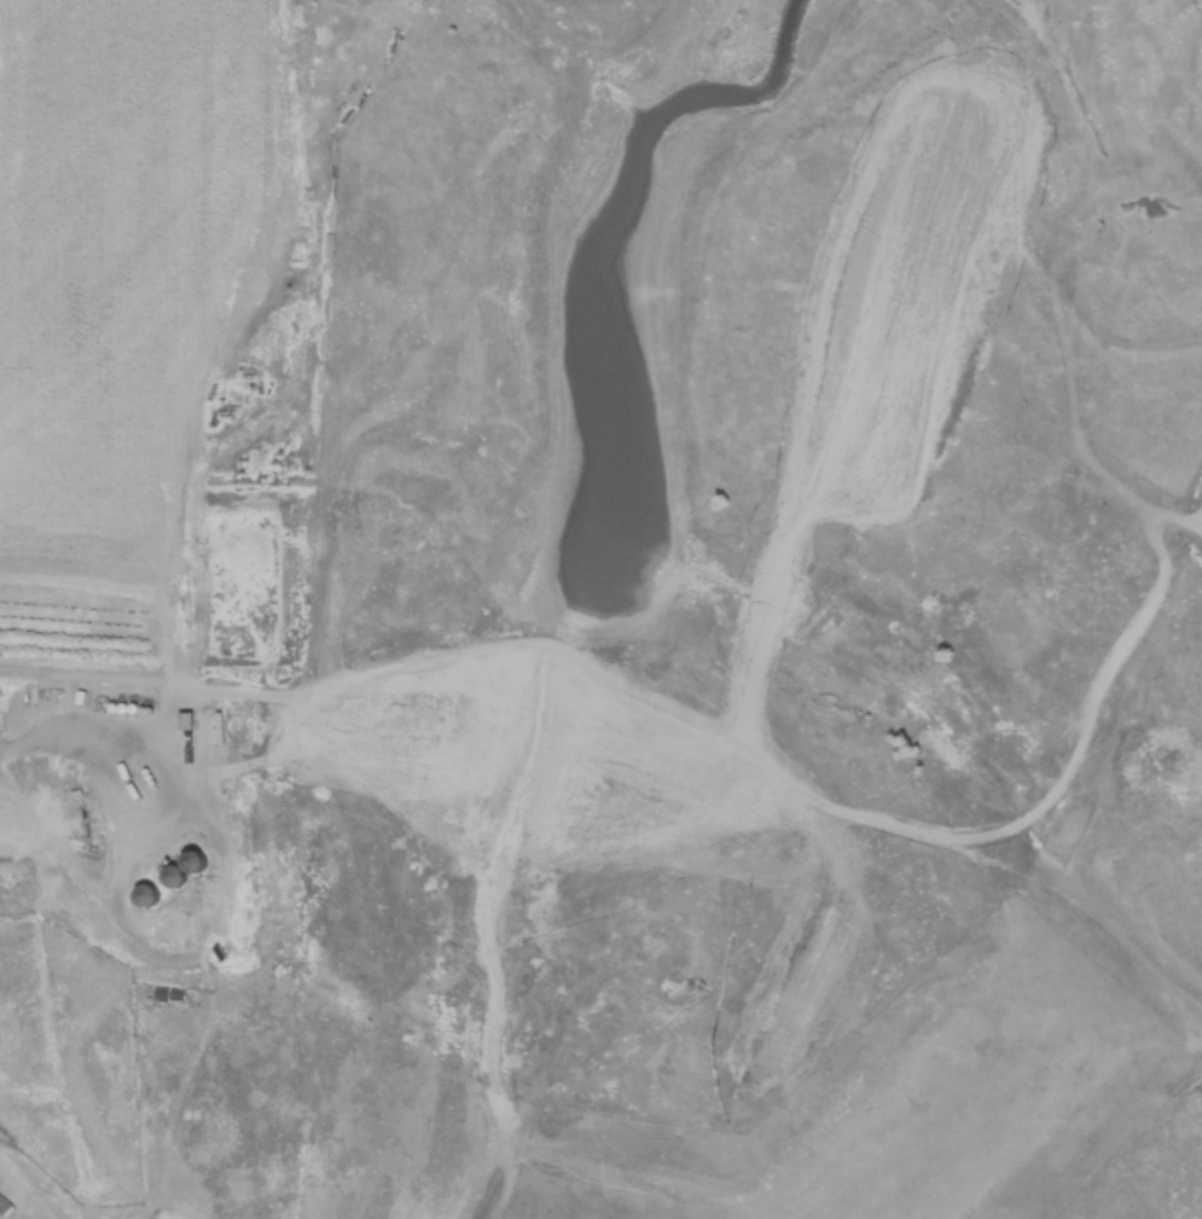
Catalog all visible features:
building: (199, 861)
building: (178, 876)
building: (151, 894)
building: (186, 930)
building: (6, 1205)

